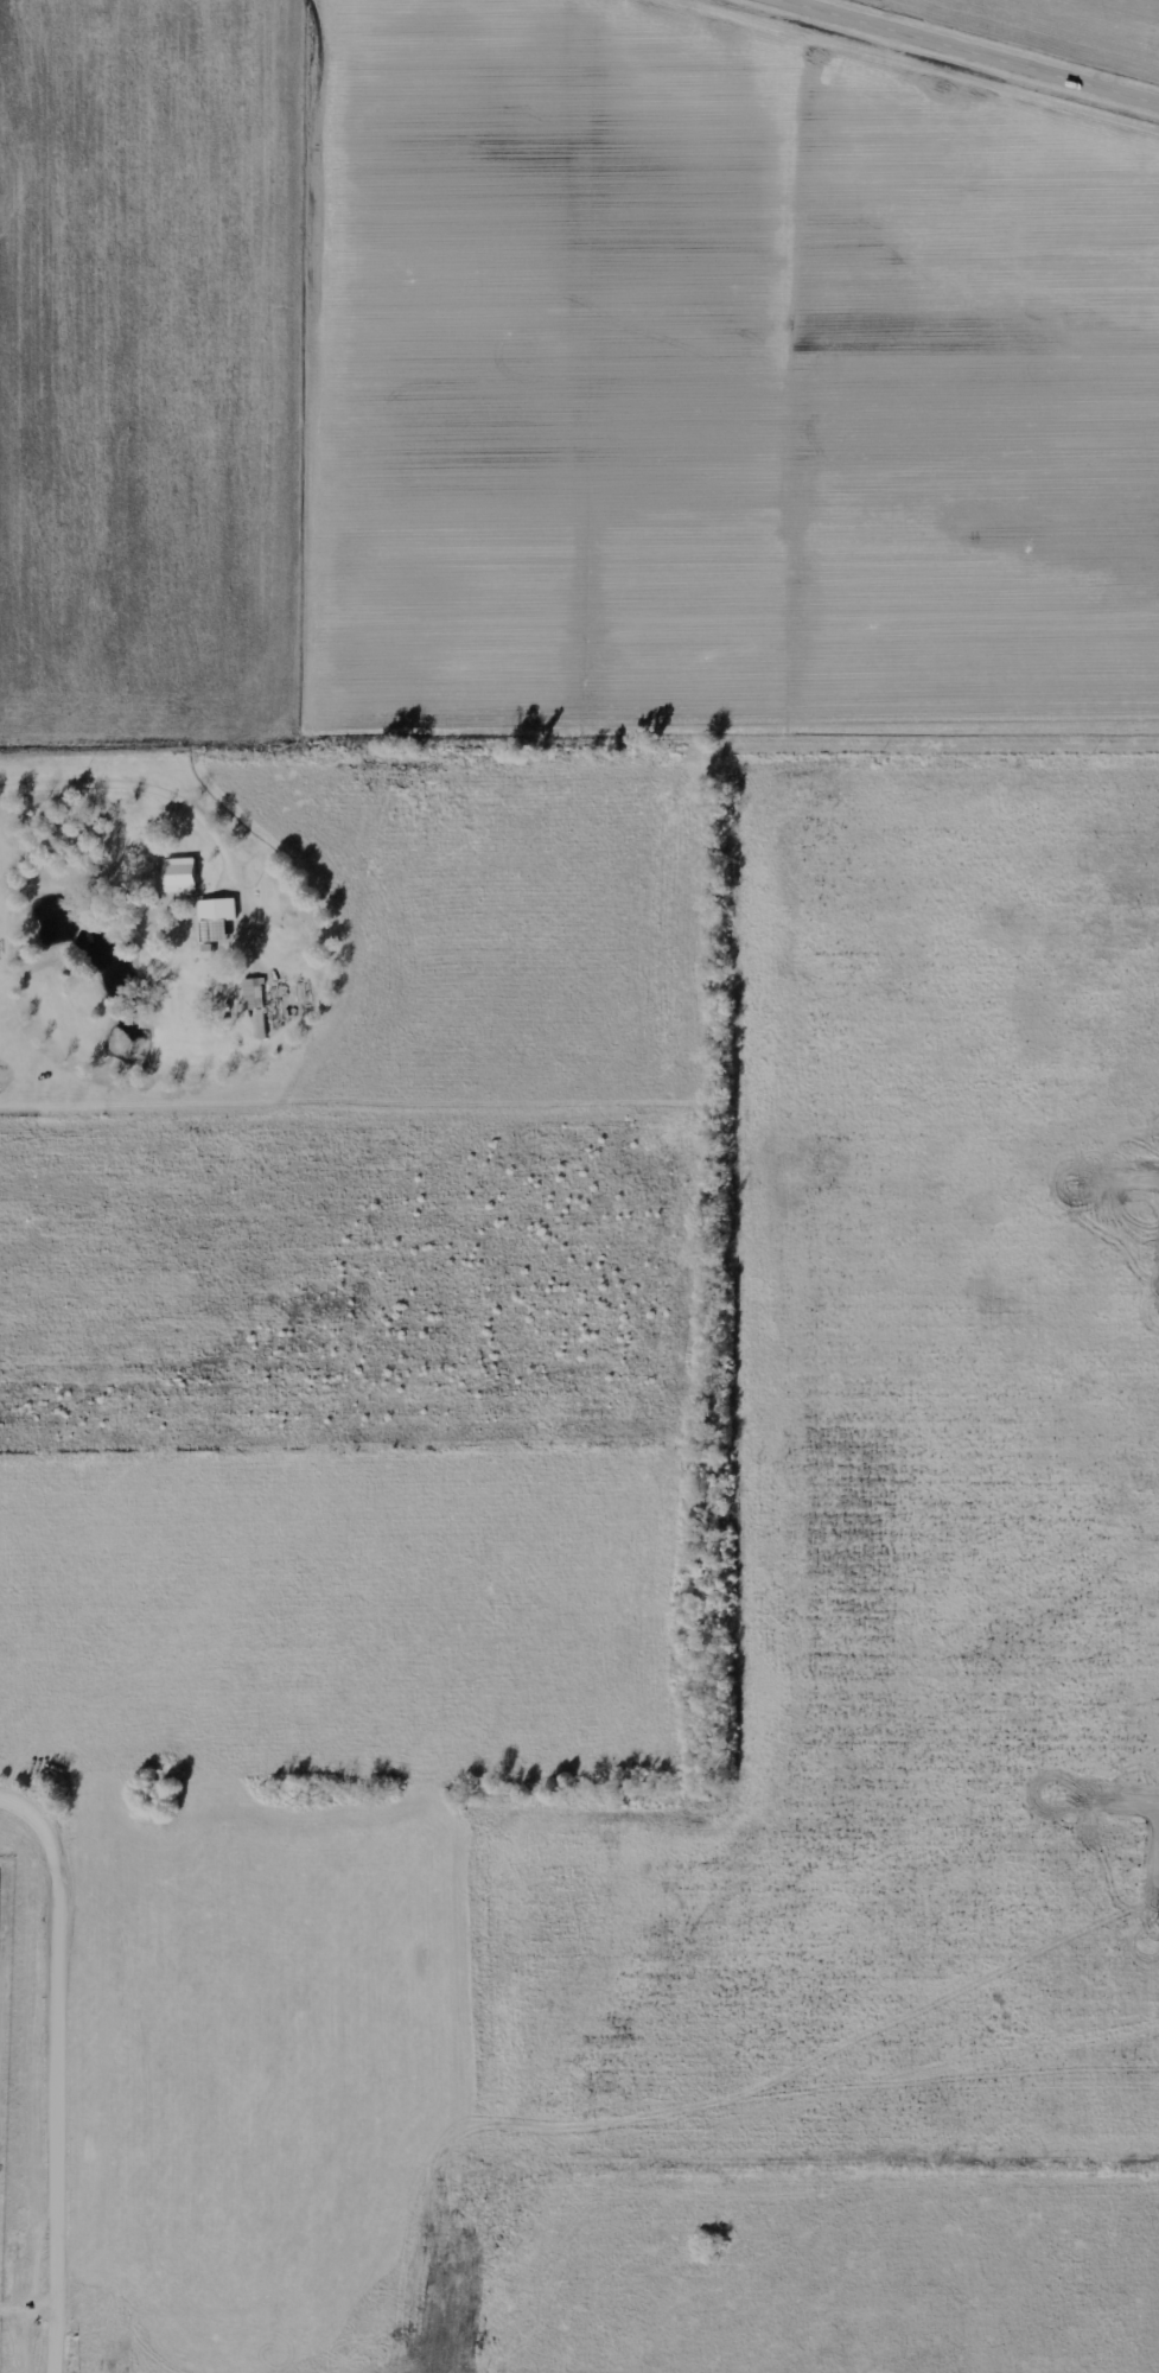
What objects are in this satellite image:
road: (967, 52)
building: (182, 877)
building: (221, 911)
road: (68, 2059)
solar farm: (4, 2065)

